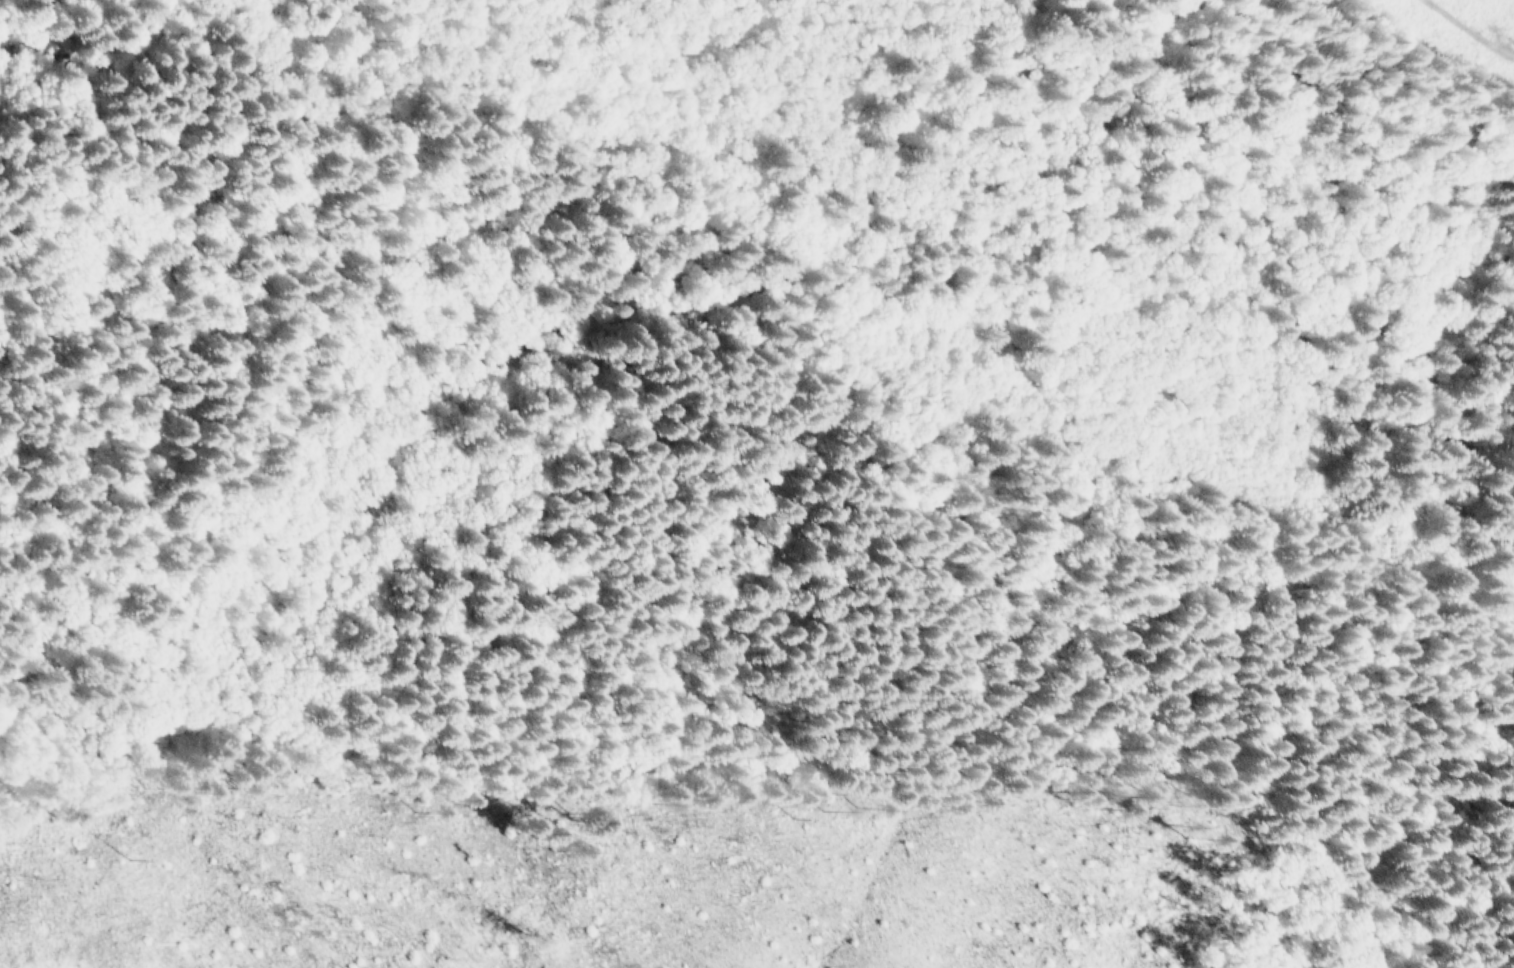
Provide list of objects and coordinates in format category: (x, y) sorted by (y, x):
road: (1471, 28)

